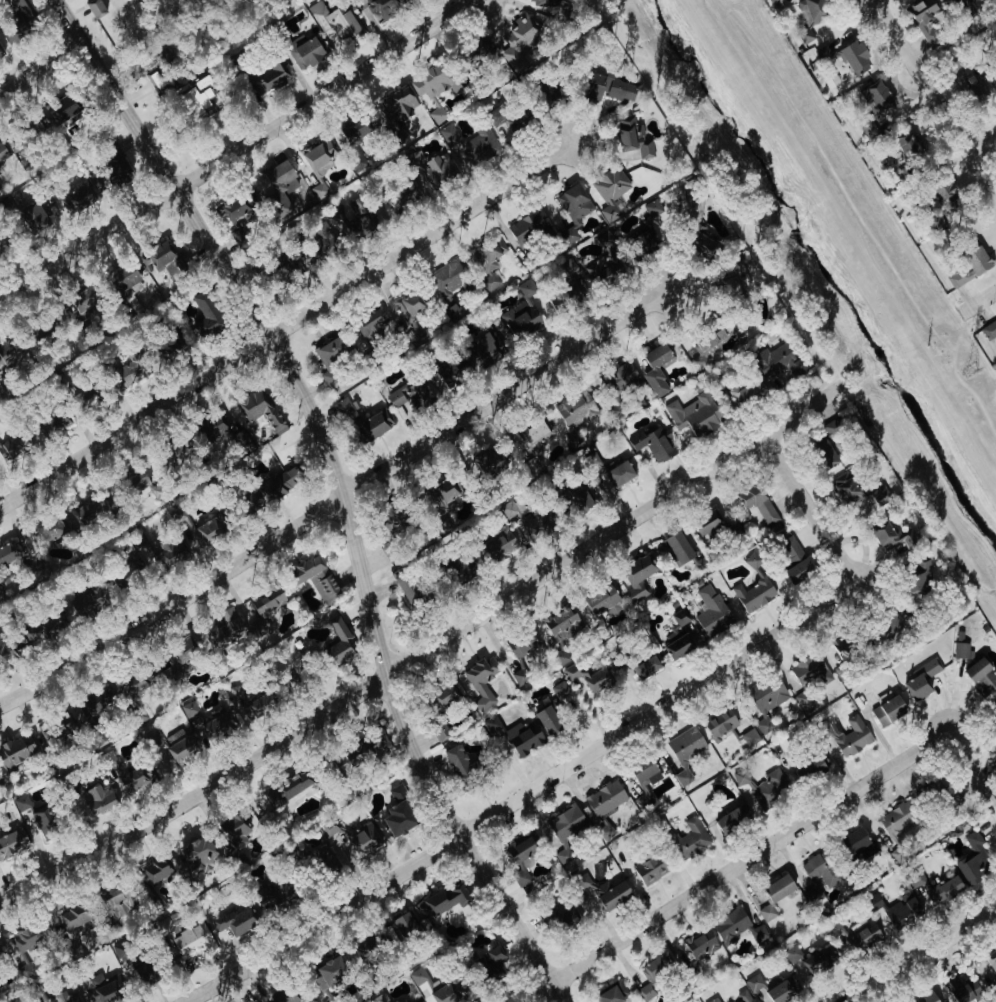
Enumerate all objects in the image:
building: (960, 0)
building: (543, 1)
building: (94, 8)
building: (381, 8)
building: (811, 15)
building: (925, 20)
building: (335, 22)
building: (17, 28)
building: (518, 42)
building: (1, 51)
building: (304, 52)
building: (477, 54)
building: (854, 58)
road: (42, 68)
building: (958, 78)
building: (268, 79)
building: (829, 79)
building: (153, 80)
building: (434, 83)
building: (611, 88)
building: (195, 97)
road: (935, 97)
building: (875, 98)
building: (61, 109)
building: (397, 110)
building: (437, 114)
building: (508, 120)
building: (33, 127)
building: (867, 129)
building: (635, 138)
building: (352, 139)
building: (471, 142)
road: (982, 142)
building: (907, 145)
building: (111, 151)
road: (233, 151)
building: (2, 154)
building: (318, 155)
building: (439, 169)
building: (278, 174)
building: (110, 175)
building: (610, 191)
building: (403, 197)
building: (77, 199)
building: (942, 205)
building: (652, 208)
building: (573, 210)
building: (234, 217)
building: (33, 218)
building: (357, 218)
road: (858, 220)
building: (527, 227)
building: (604, 239)
building: (701, 244)
building: (320, 245)
building: (164, 259)
building: (486, 263)
building: (970, 267)
building: (603, 274)
building: (447, 278)
building: (123, 282)
building: (567, 287)
building: (526, 288)
road: (979, 300)
building: (78, 302)
building: (408, 305)
building: (451, 313)
building: (203, 316)
building: (520, 322)
road: (287, 324)
building: (989, 330)
building: (413, 334)
building: (37, 335)
building: (707, 338)
building: (170, 345)
building: (484, 348)
building: (329, 350)
building: (778, 361)
building: (656, 368)
building: (452, 369)
power tower: (971, 370)
building: (127, 374)
building: (618, 378)
building: (327, 379)
building: (746, 391)
building: (409, 393)
building: (671, 408)
building: (260, 409)
building: (576, 409)
building: (346, 411)
building: (702, 415)
building: (216, 423)
building: (52, 424)
building: (374, 424)
building: (534, 431)
building: (650, 445)
building: (12, 446)
building: (166, 458)
building: (592, 460)
building: (487, 461)
building: (532, 466)
building: (618, 472)
building: (280, 484)
road: (340, 487)
building: (845, 487)
building: (443, 491)
building: (578, 496)
road: (336, 501)
building: (757, 503)
building: (88, 507)
road: (810, 509)
building: (391, 517)
building: (528, 519)
building: (439, 521)
building: (706, 522)
building: (51, 528)
building: (210, 528)
building: (891, 536)
building: (498, 544)
building: (160, 550)
building: (7, 552)
building: (793, 559)
building: (16, 563)
building: (462, 569)
building: (121, 574)
building: (917, 575)
building: (636, 576)
building: (314, 577)
building: (407, 584)
building: (753, 594)
building: (600, 599)
building: (86, 600)
building: (711, 611)
building: (562, 623)
building: (42, 626)
building: (222, 628)
building: (338, 642)
building: (521, 644)
building: (960, 646)
road: (426, 649)
building: (3, 651)
building: (178, 654)
building: (645, 666)
building: (807, 669)
building: (981, 676)
building: (519, 677)
building: (590, 678)
building: (922, 679)
building: (480, 680)
building: (559, 689)
building: (445, 695)
building: (768, 696)
building: (248, 702)
building: (805, 702)
building: (89, 703)
building: (888, 710)
building: (547, 720)
building: (491, 723)
building: (720, 723)
building: (218, 724)
building: (763, 725)
building: (441, 732)
building: (153, 737)
building: (522, 737)
building: (749, 737)
building: (852, 737)
building: (178, 745)
building: (358, 751)
building: (685, 751)
building: (459, 765)
road: (972, 767)
building: (808, 768)
building: (125, 775)
building: (642, 780)
building: (764, 786)
building: (286, 788)
building: (397, 792)
building: (97, 798)
road: (523, 798)
building: (605, 798)
building: (32, 817)
building: (398, 818)
building: (732, 818)
building: (895, 827)
building: (564, 830)
building: (235, 836)
building: (691, 838)
building: (363, 839)
building: (12, 842)
building: (858, 843)
building: (520, 847)
building: (197, 855)
building: (972, 859)
building: (322, 860)
road: (740, 866)
building: (650, 869)
building: (157, 870)
building: (819, 876)
building: (915, 877)
building: (778, 888)
building: (944, 889)
building: (272, 894)
building: (604, 895)
building: (116, 901)
building: (442, 901)
building: (894, 911)
building: (766, 912)
building: (560, 915)
building: (75, 919)
building: (234, 919)
building: (406, 924)
building: (735, 926)
building: (856, 935)
building: (25, 939)
building: (192, 939)
building: (700, 943)
building: (362, 944)
building: (1, 953)
road: (921, 954)
building: (796, 956)
building: (817, 960)
building: (494, 962)
building: (141, 971)
building: (654, 974)
building: (753, 983)
building: (449, 985)
building: (103, 988)
building: (963, 989)
building: (783, 990)
building: (612, 993)
building: (280, 996)
building: (928, 997)
building: (60, 998)
building: (381, 998)
building: (399, 1000)
building: (713, 1000)
building: (749, 1000)
building: (416, 1001)
building: (908, 1001)

